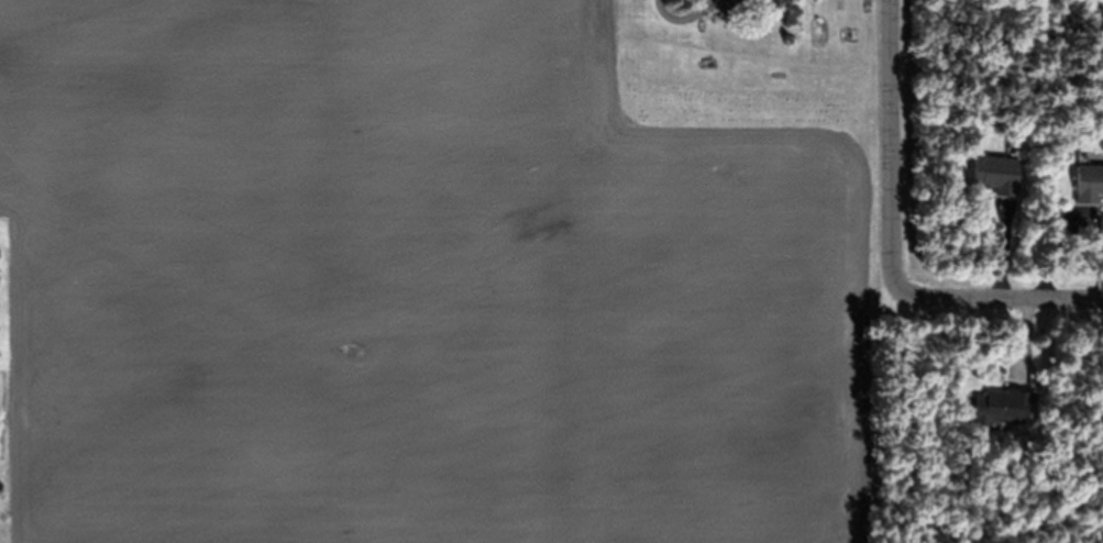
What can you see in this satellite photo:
building: (732, 5)
building: (838, 7)
road: (892, 148)
building: (996, 175)
building: (1090, 184)
crop: (422, 282)
road: (1003, 298)
building: (1002, 406)

